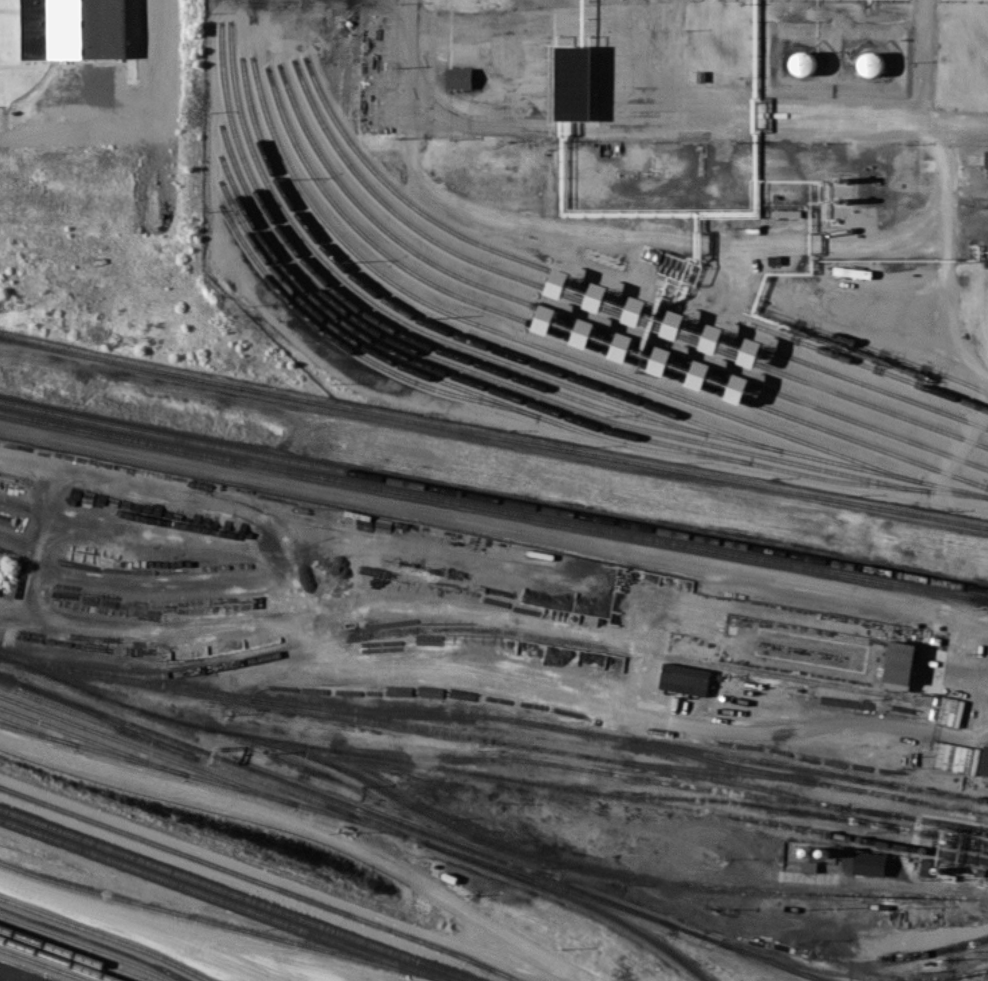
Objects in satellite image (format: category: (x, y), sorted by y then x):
building: (71, 27)
building: (802, 63)
building: (871, 63)
road: (919, 63)
road: (507, 64)
building: (458, 77)
building: (571, 82)
road: (639, 123)
building: (987, 157)
road: (948, 257)
building: (559, 282)
railway: (609, 291)
building: (597, 296)
railway: (600, 306)
building: (636, 310)
railway: (383, 311)
building: (651, 315)
building: (546, 318)
railway: (588, 324)
building: (674, 324)
railway: (443, 330)
building: (584, 332)
building: (713, 338)
railway: (577, 339)
railway: (524, 340)
building: (623, 346)
railway: (873, 348)
railway: (353, 350)
building: (751, 352)
building: (643, 353)
building: (661, 360)
railway: (869, 366)
railway: (507, 374)
building: (700, 374)
railway: (447, 382)
building: (738, 388)
railway: (550, 399)
railway: (526, 402)
railway: (493, 435)
railway: (493, 496)
railway: (493, 507)
road: (493, 524)
road: (108, 578)
railway: (456, 628)
building: (899, 661)
building: (684, 677)
road: (591, 704)
railway: (107, 720)
railway: (529, 720)
railway: (37, 731)
railway: (92, 741)
railway: (147, 750)
building: (949, 756)
railway: (619, 760)
building: (985, 761)
railway: (590, 769)
railway: (718, 769)
railway: (202, 777)
railway: (807, 779)
railway: (596, 794)
railway: (790, 808)
railway: (360, 819)
railway: (410, 827)
road: (307, 831)
railway: (480, 835)
building: (808, 851)
building: (869, 863)
building: (809, 866)
railway: (262, 881)
railway: (549, 884)
railway: (238, 895)
railway: (225, 901)
railway: (224, 924)
road: (137, 928)
railway: (108, 936)
railway: (85, 946)
road: (170, 949)
railway: (75, 953)
railway: (899, 956)
railway: (60, 958)
railway: (45, 964)
railway: (853, 974)

